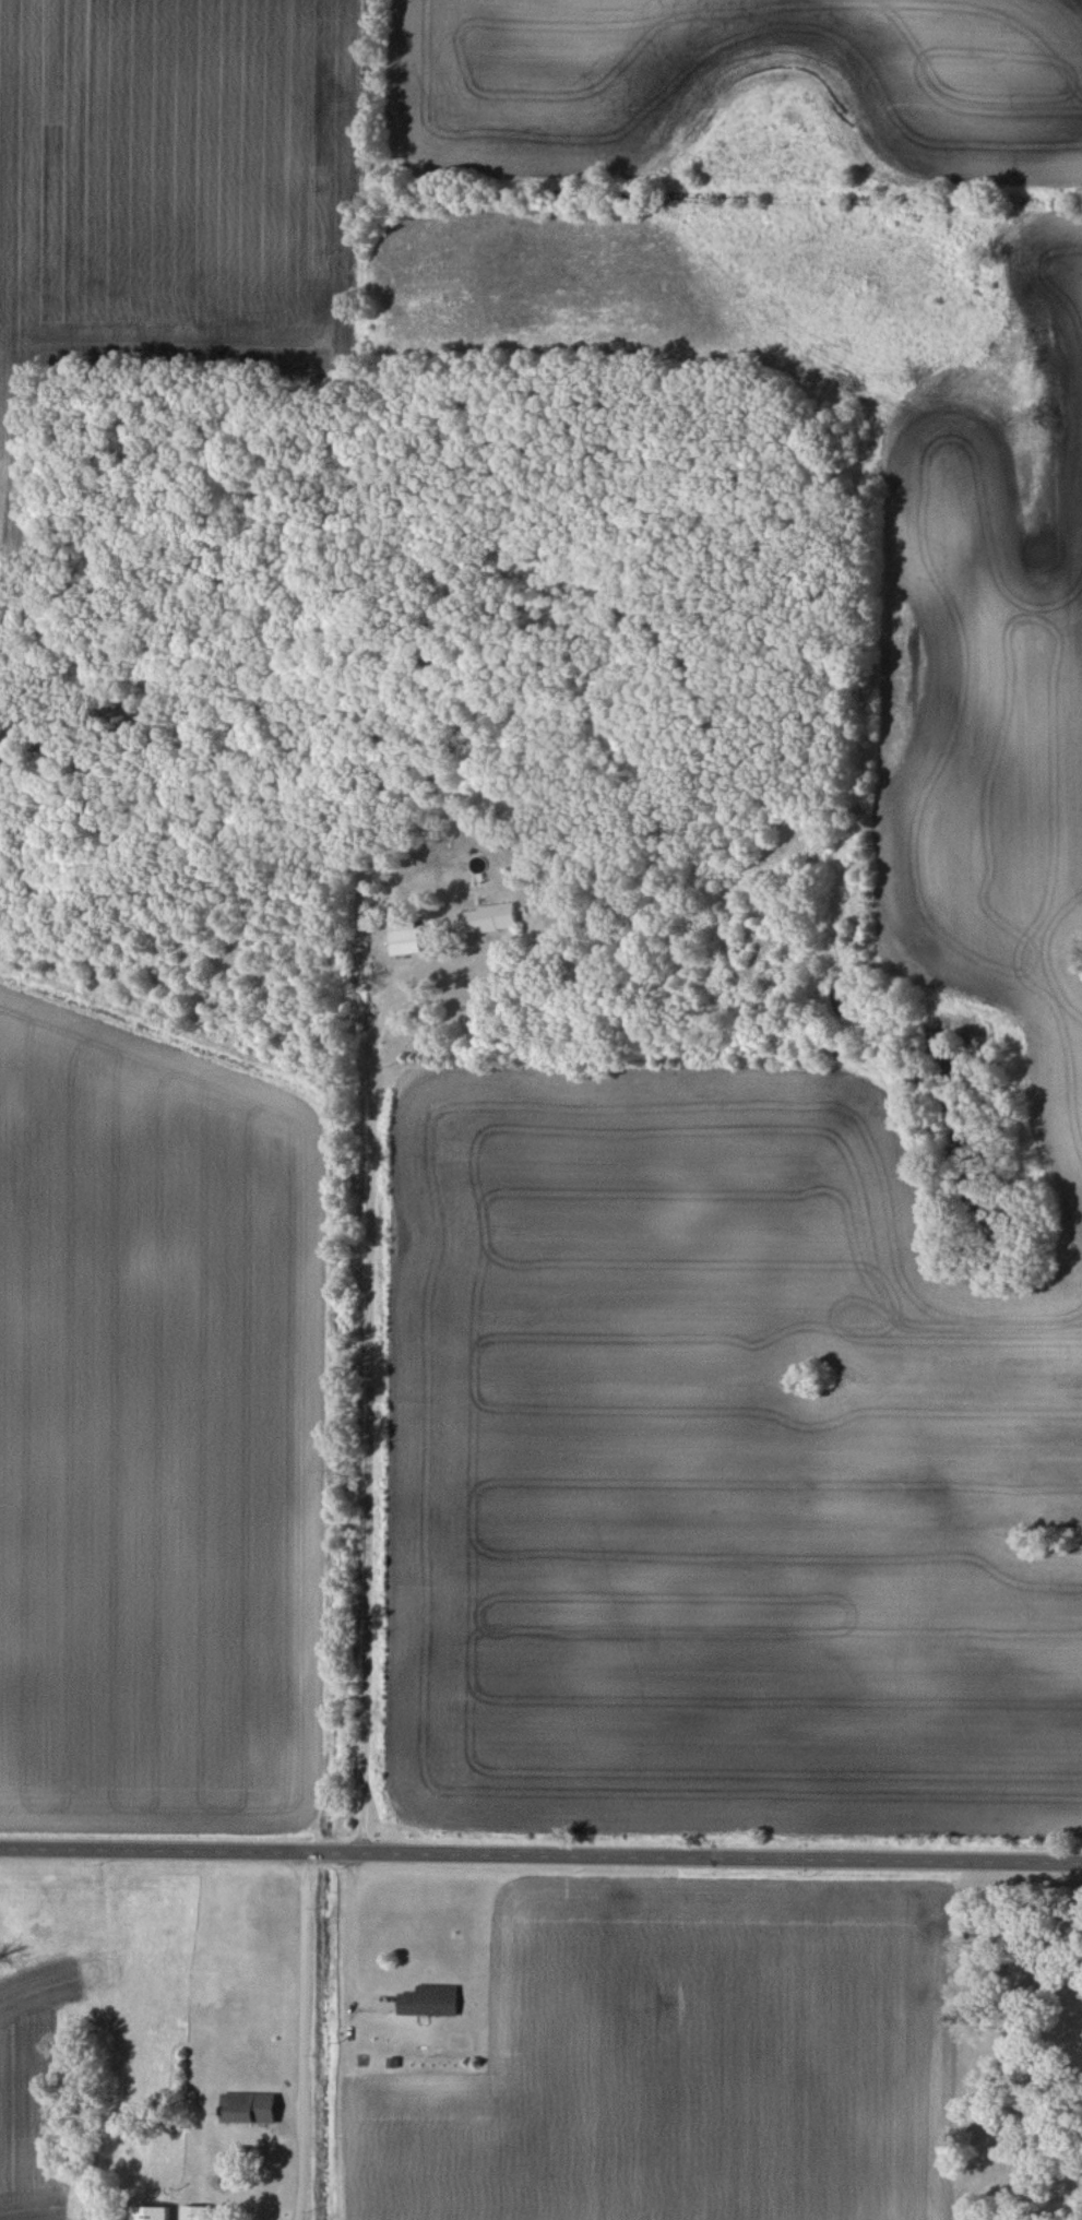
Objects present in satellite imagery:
building: (485, 918)
building: (402, 937)
road: (367, 1465)
road: (540, 1853)
building: (426, 2001)
road: (302, 2035)
building: (245, 2109)
building: (146, 2212)
building: (191, 2212)

